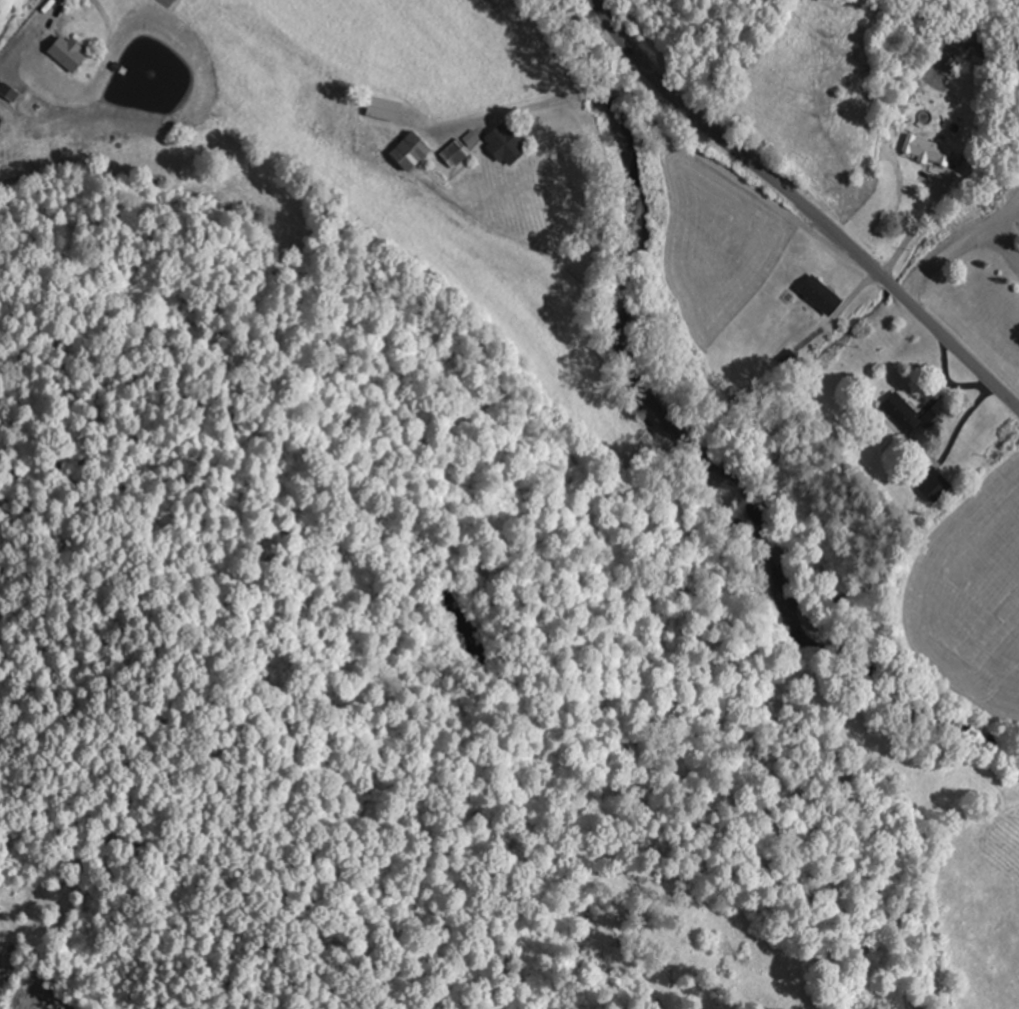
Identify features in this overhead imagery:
building: (69, 53)
building: (982, 53)
road: (602, 92)
road: (522, 107)
building: (387, 108)
building: (509, 142)
building: (413, 150)
building: (931, 150)
building: (456, 152)
road: (740, 181)
road: (804, 204)
building: (824, 294)
building: (902, 412)
building: (935, 482)

